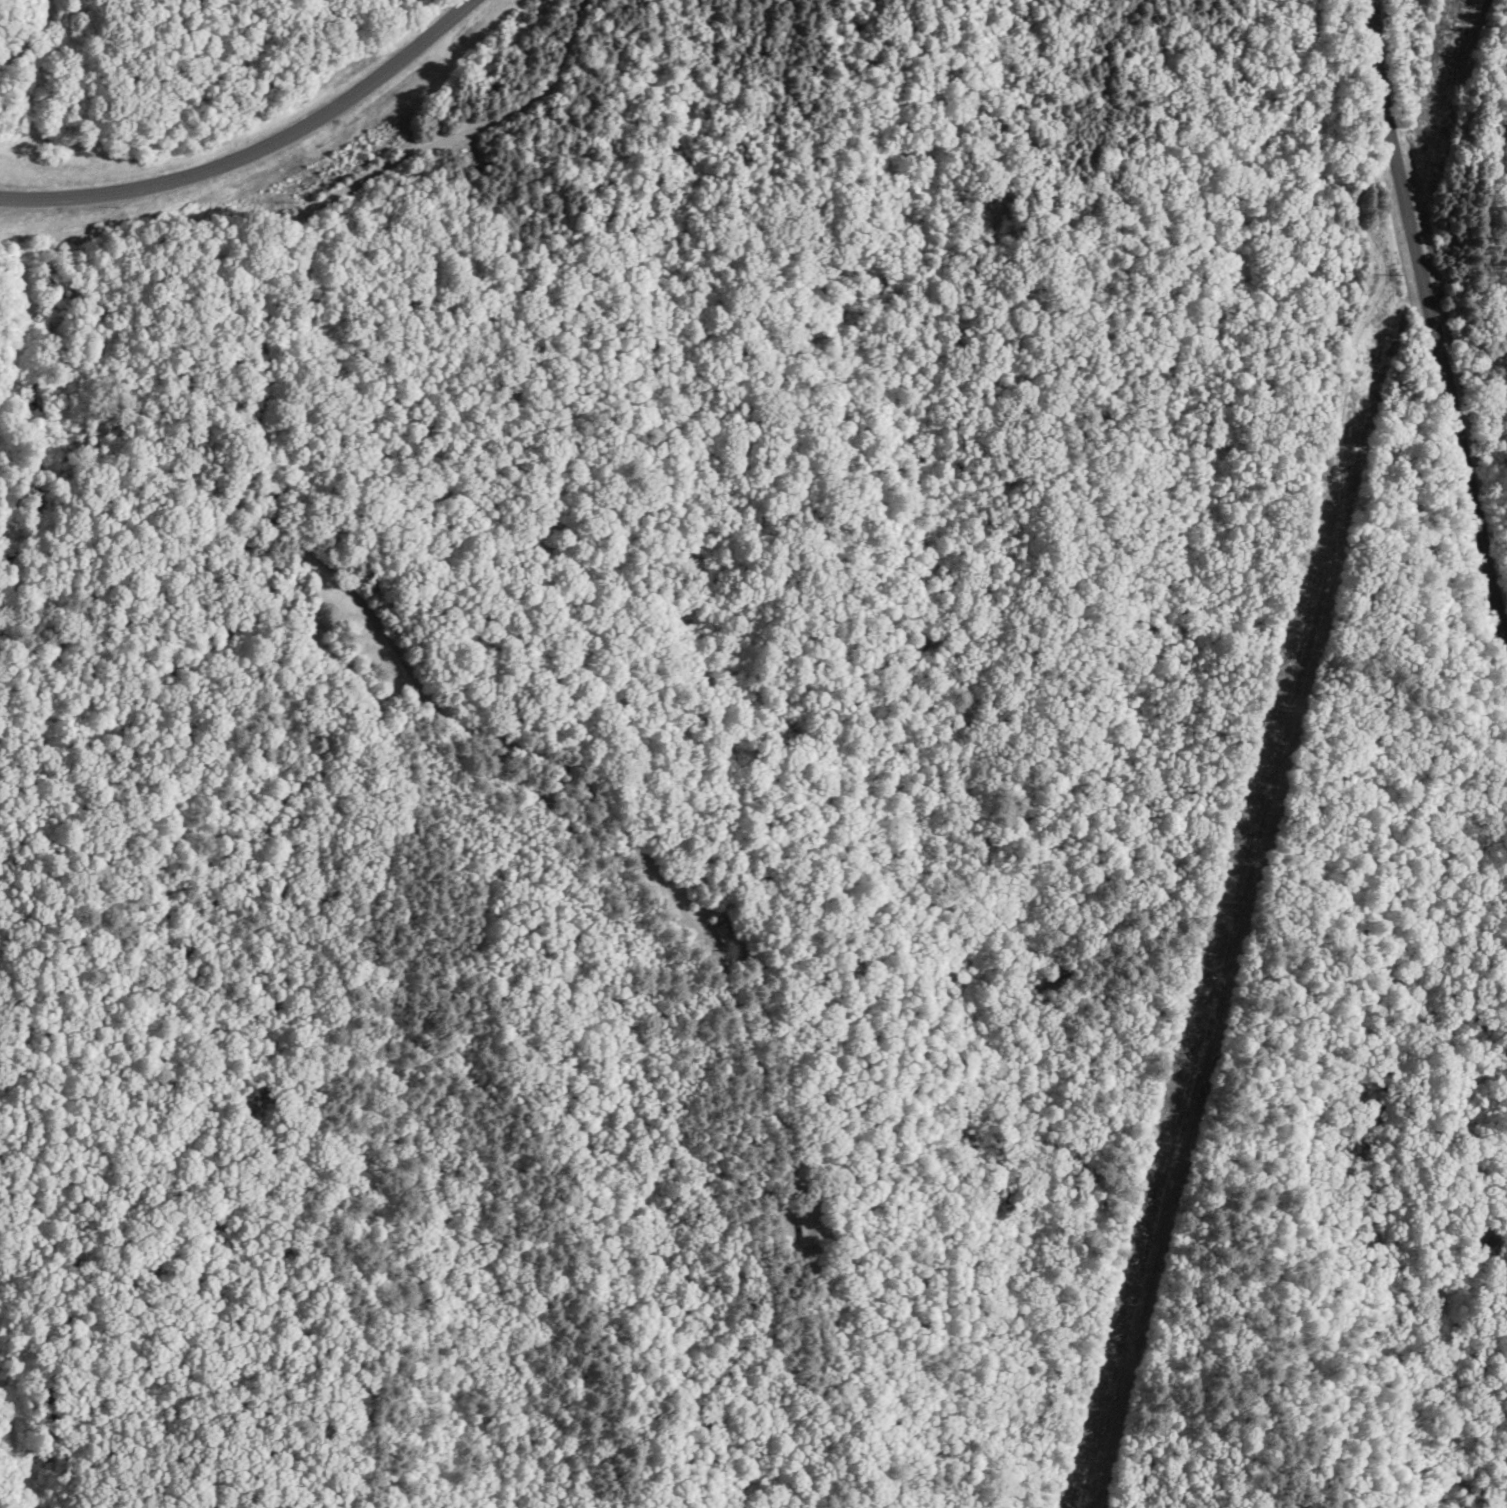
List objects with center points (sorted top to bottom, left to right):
road: (255, 150)
road: (1438, 324)

